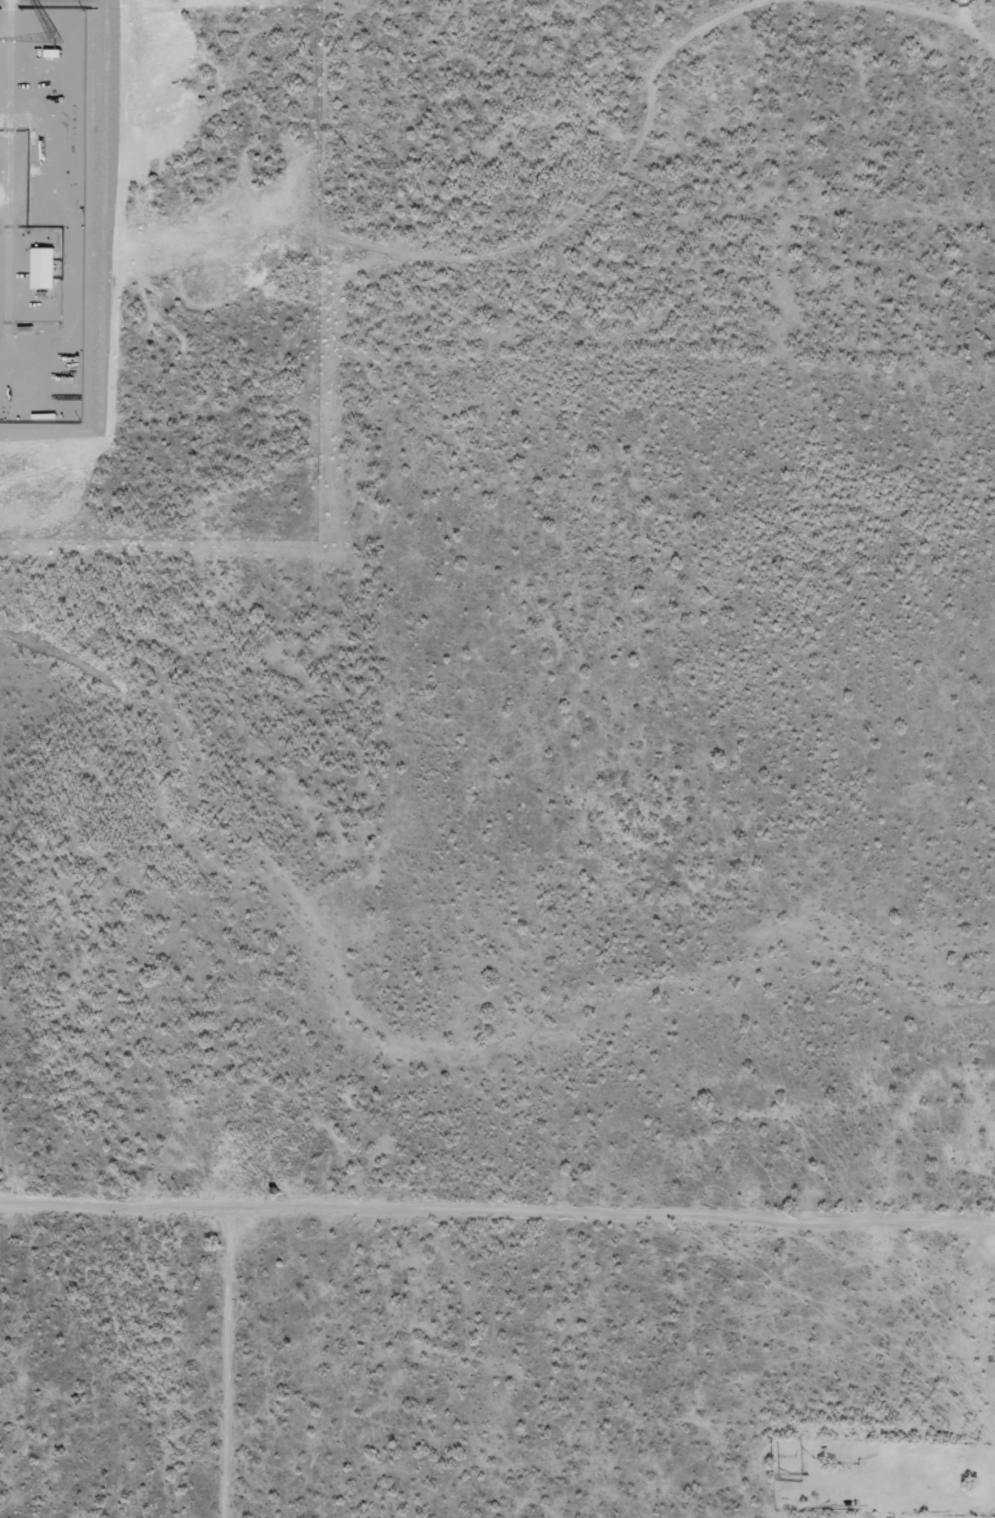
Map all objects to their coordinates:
road: (912, 7)
road: (973, 28)
road: (625, 160)
power substation: (43, 211)
road: (497, 1208)
road: (226, 1359)

